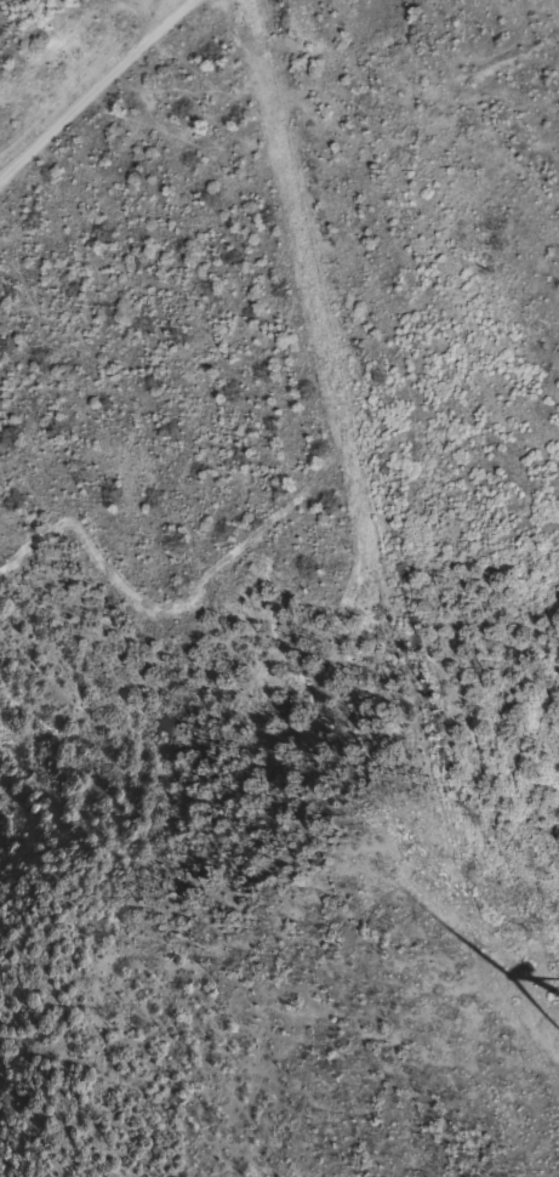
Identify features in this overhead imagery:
road: (118, 136)

